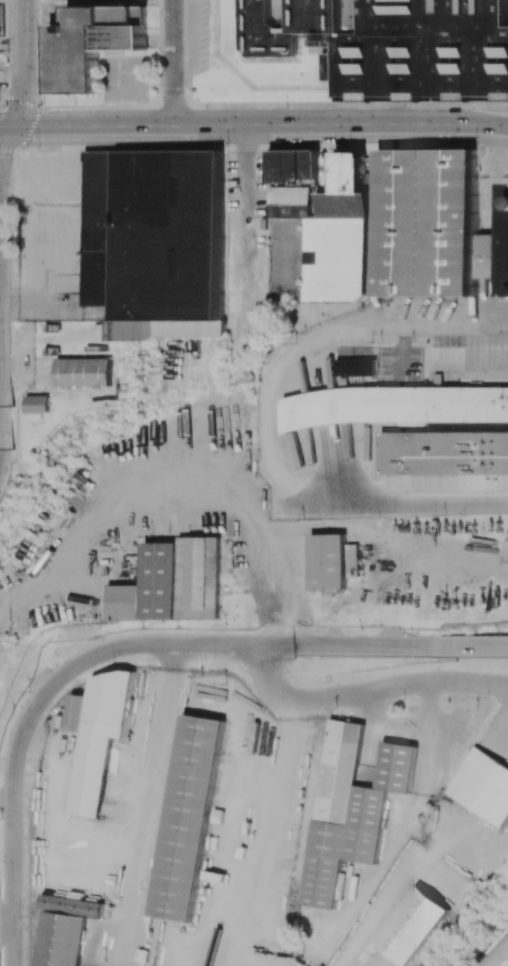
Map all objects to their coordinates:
parking lot: (196, 36)
road: (191, 42)
building: (91, 43)
building: (392, 45)
road: (160, 50)
road: (171, 61)
road: (23, 78)
road: (174, 99)
road: (342, 102)
road: (254, 122)
traffic signals: (10, 126)
road: (383, 145)
road: (246, 146)
road: (503, 162)
building: (328, 166)
road: (499, 174)
building: (433, 223)
building: (319, 228)
building: (155, 233)
road: (250, 233)
road: (471, 362)
building: (354, 366)
building: (85, 371)
building: (37, 403)
power tower: (14, 404)
road: (263, 416)
power tower: (14, 451)
building: (447, 452)
building: (329, 561)
building: (173, 583)
power tower: (12, 642)
road: (124, 643)
road: (351, 646)
road: (471, 647)
power tower: (297, 659)
road: (367, 691)
building: (97, 736)
building: (482, 786)
road: (148, 805)
road: (57, 806)
building: (350, 807)
building: (188, 817)
road: (255, 837)
road: (12, 847)
building: (415, 923)
building: (65, 929)
railway: (215, 944)

